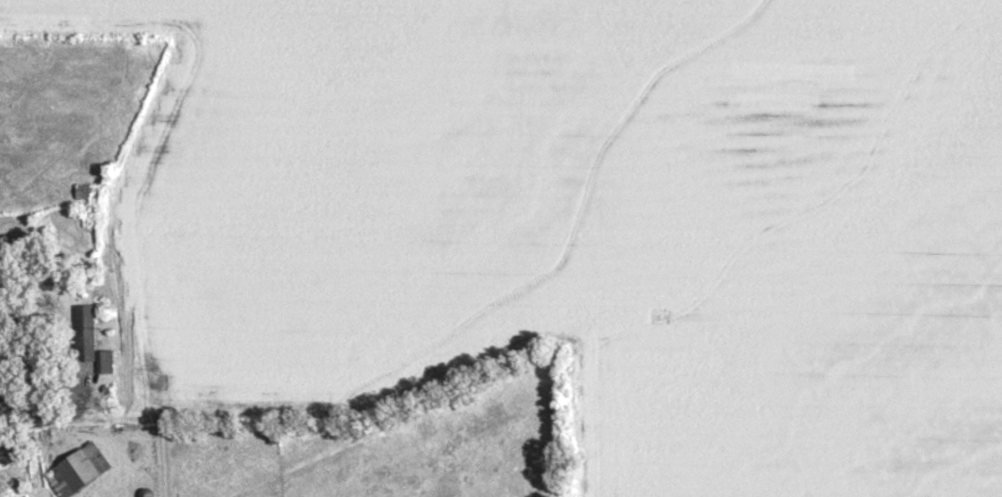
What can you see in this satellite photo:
building: (81, 195)
building: (273, 441)
building: (76, 473)

